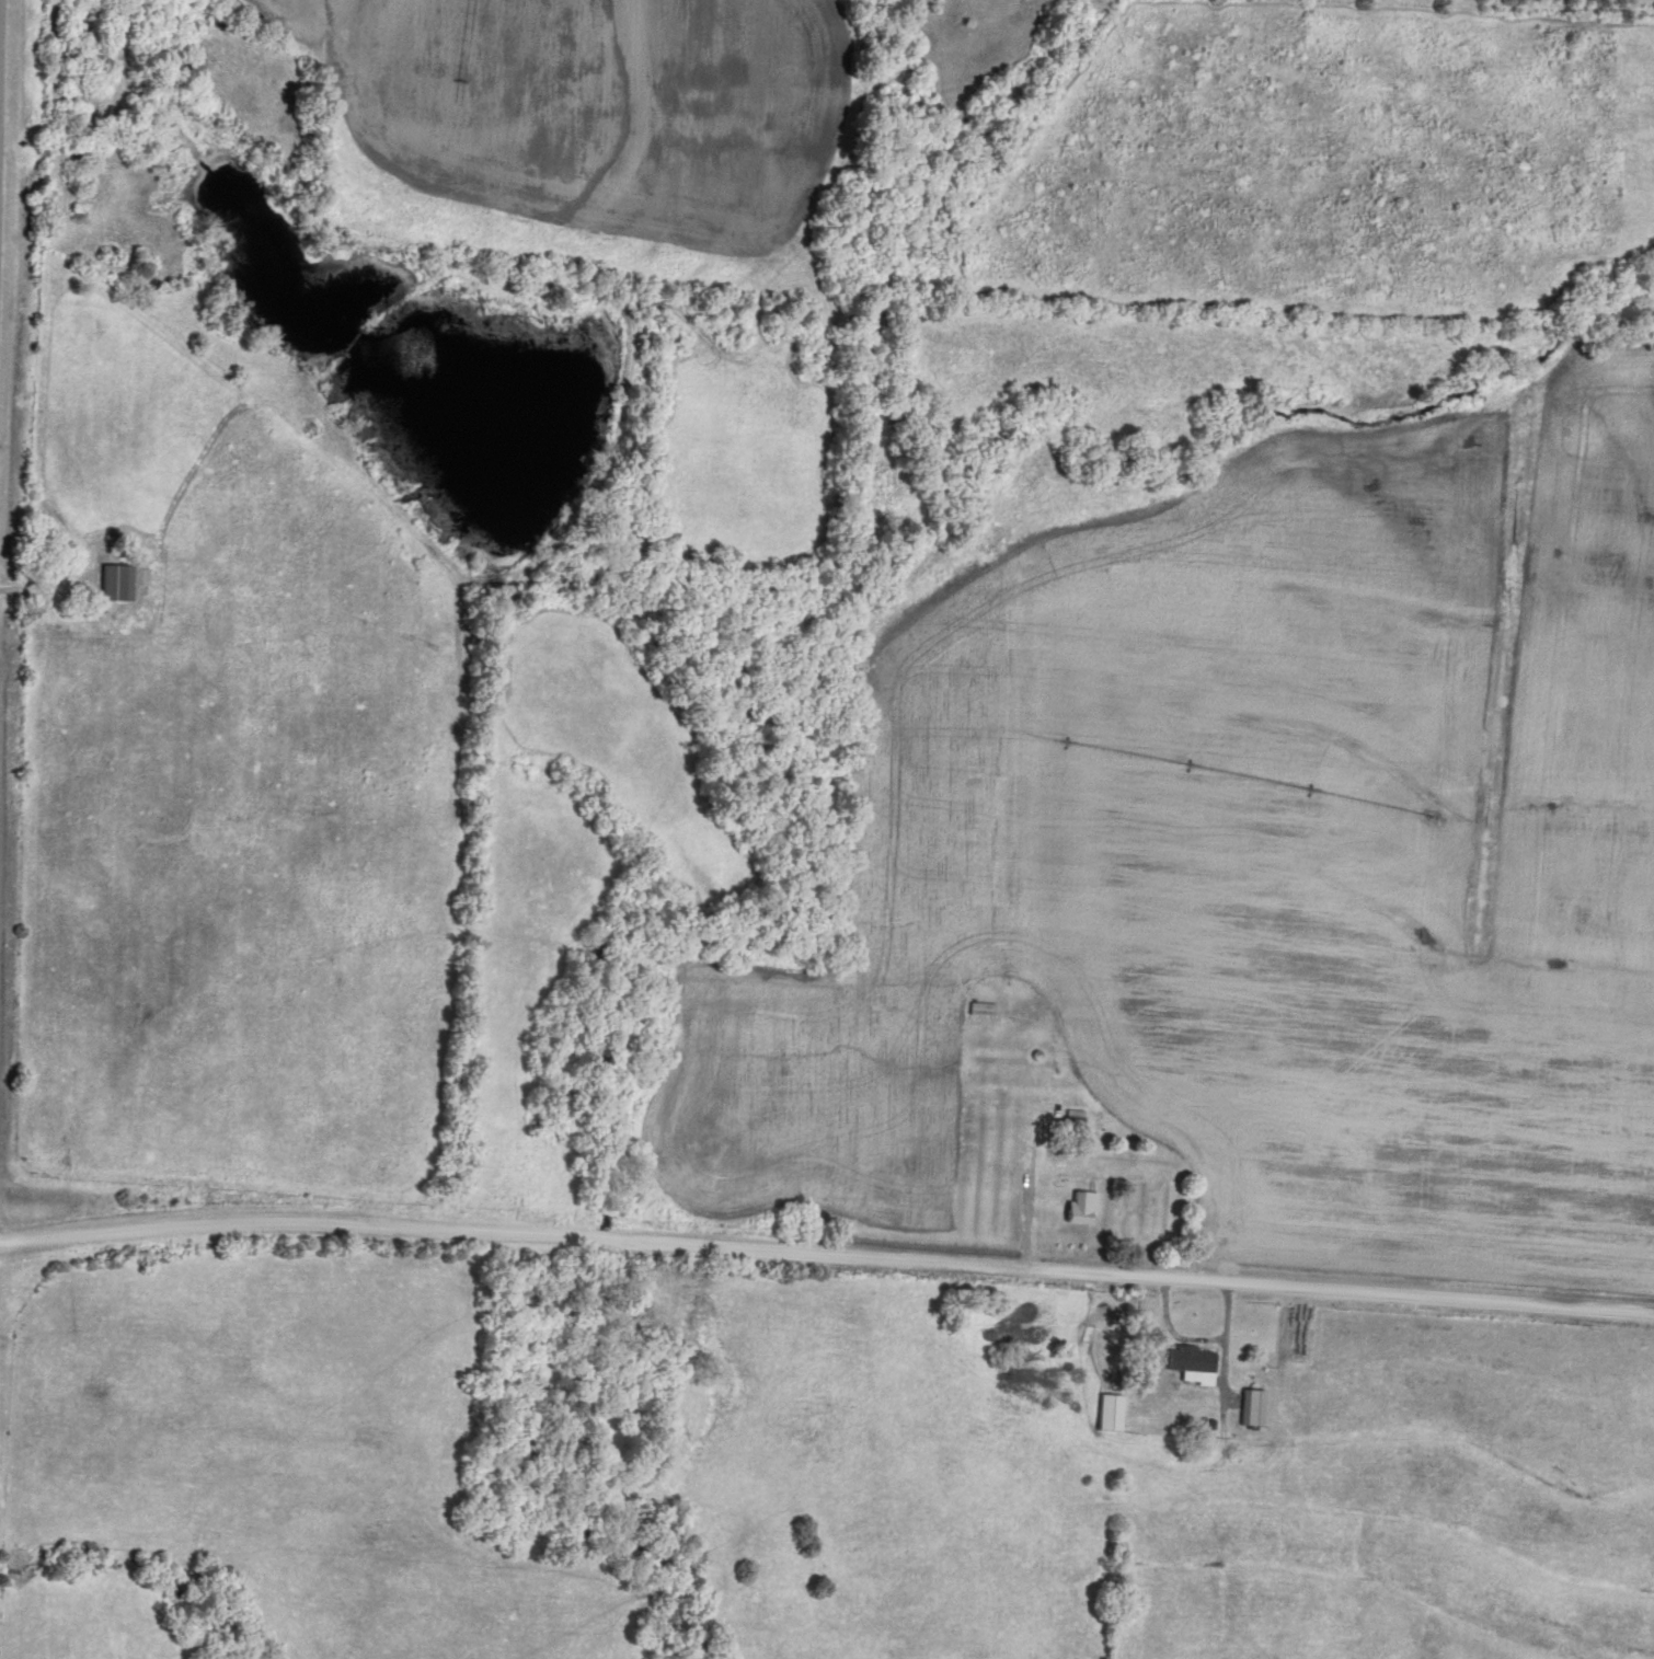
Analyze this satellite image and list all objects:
building: (116, 579)
road: (826, 1255)
road: (1225, 1349)
building: (1190, 1360)
building: (1250, 1404)
building: (1107, 1408)

